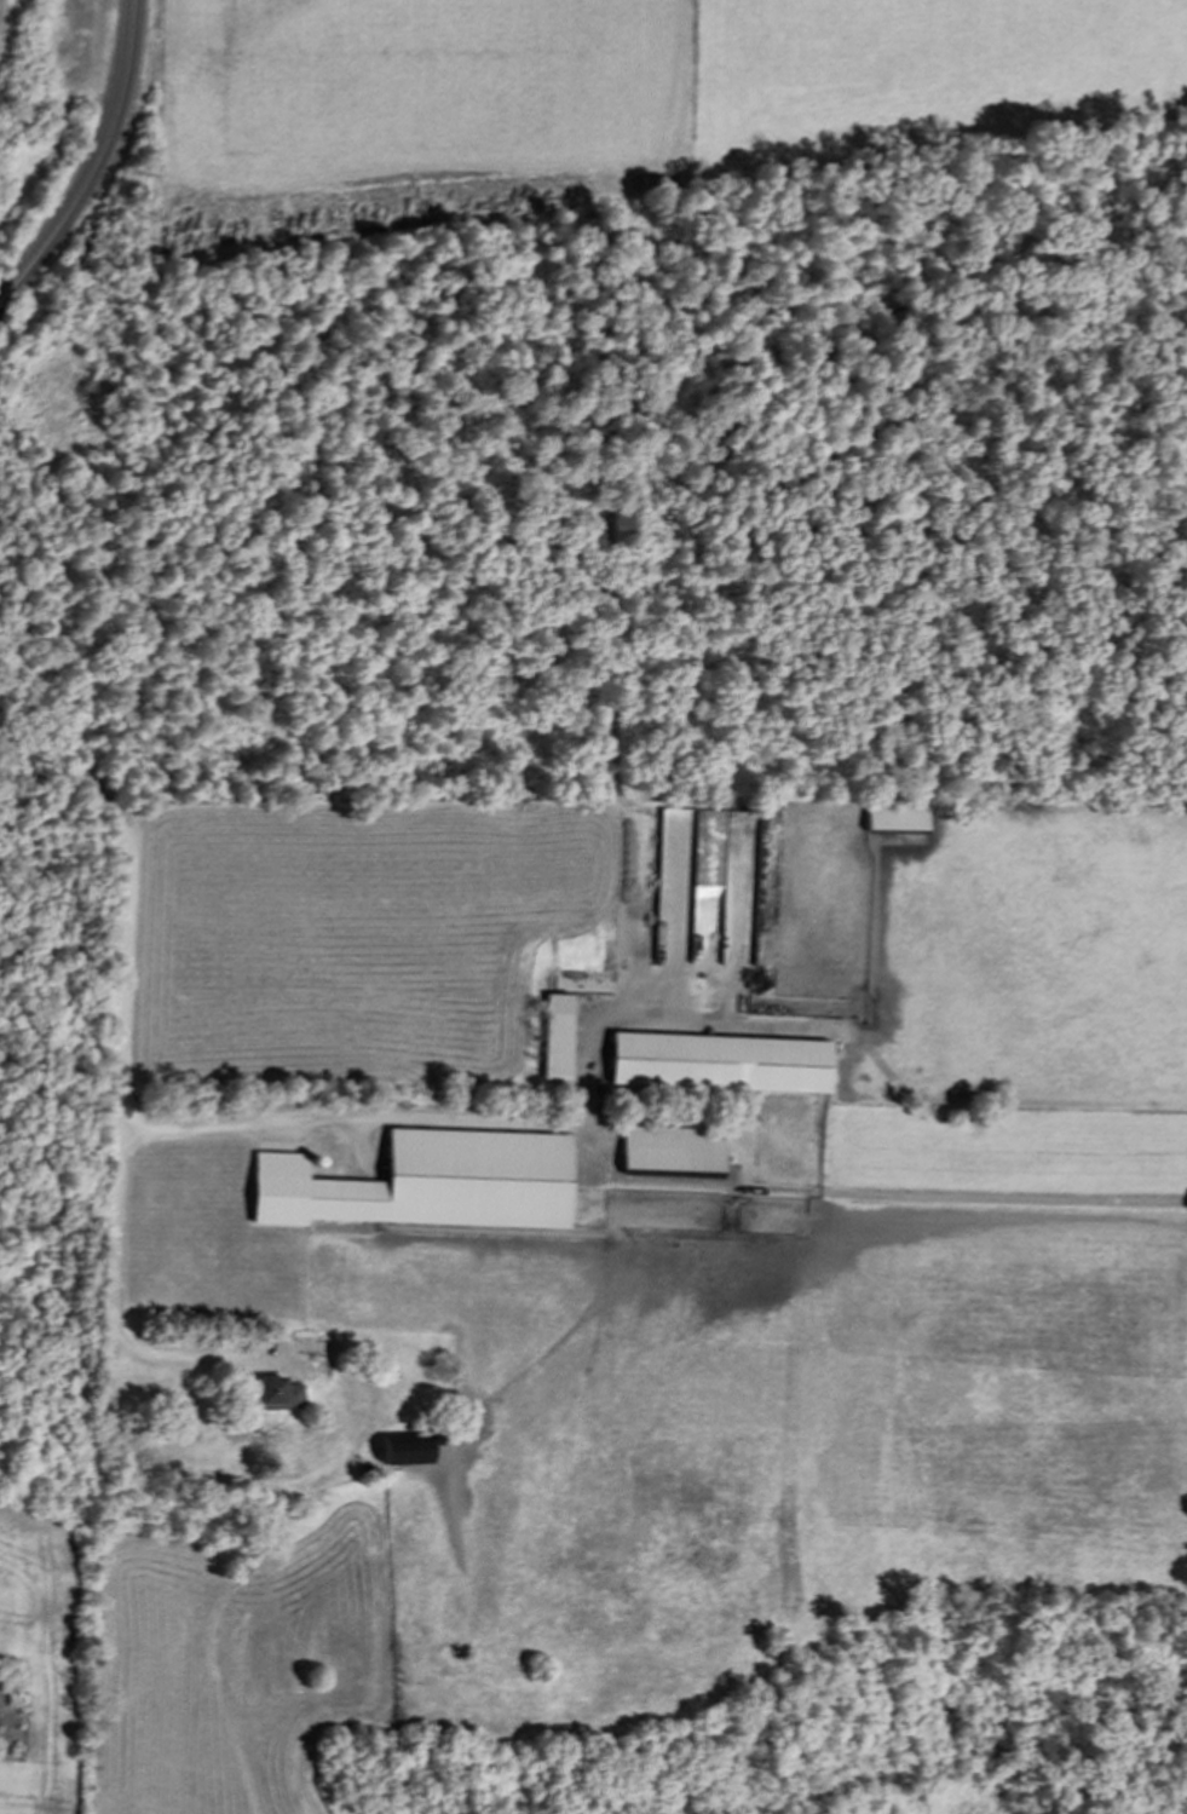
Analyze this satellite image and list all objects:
crop: (594, 100)
road: (97, 166)
building: (895, 814)
road: (117, 1004)
building: (555, 1036)
building: (720, 1063)
road: (448, 1119)
building: (672, 1150)
building: (427, 1182)
building: (276, 1394)
building: (404, 1449)
road: (319, 1467)
crop: (211, 1662)

